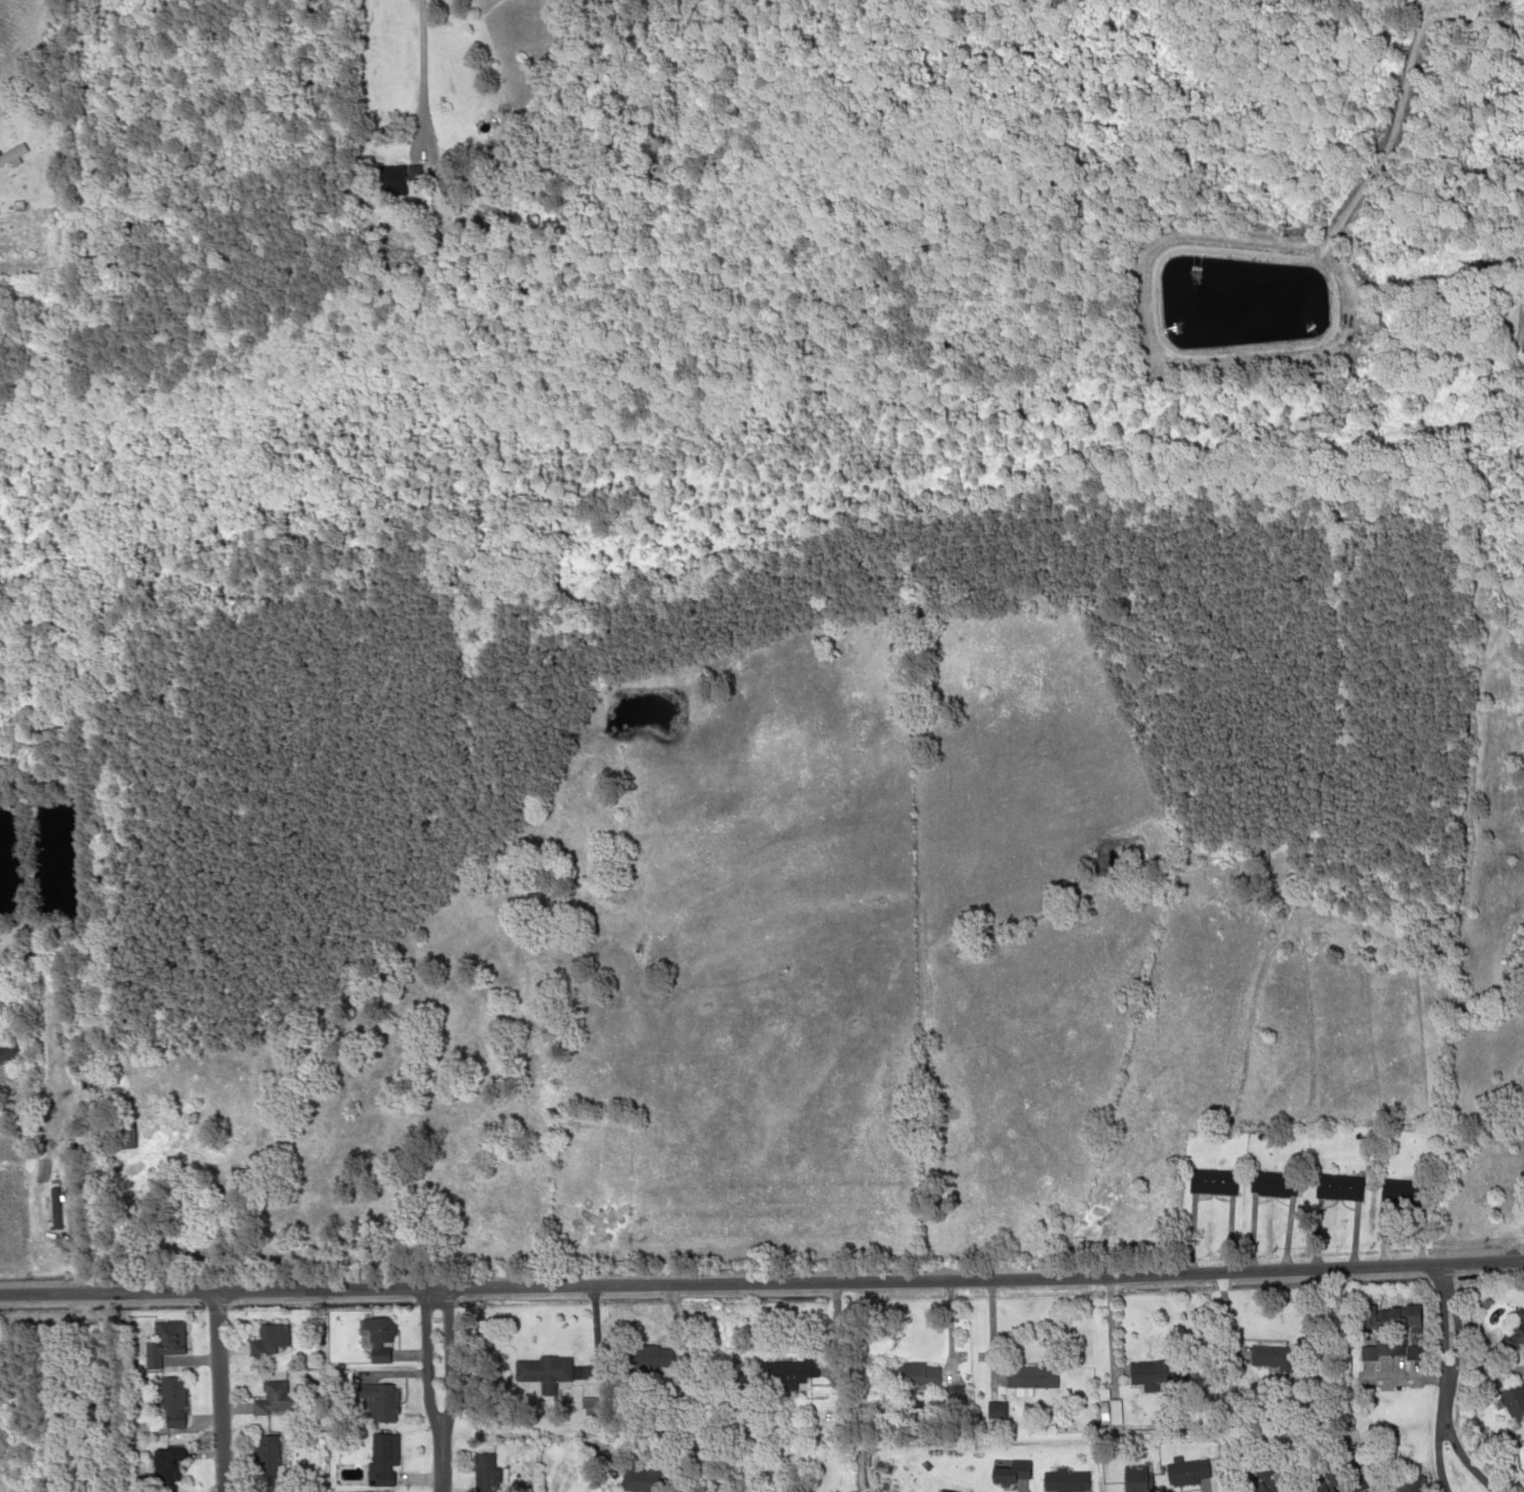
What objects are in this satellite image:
building: (11, 153)
building: (414, 172)
building: (390, 179)
building: (447, 182)
building: (467, 190)
building: (55, 200)
building: (15, 204)
building: (363, 231)
building: (439, 246)
building: (1522, 331)
building: (8, 1047)
building: (118, 1133)
building: (1211, 1181)
building: (1271, 1182)
building: (1341, 1188)
building: (1402, 1192)
road: (1440, 1275)
road: (762, 1282)
building: (1394, 1317)
building: (1515, 1331)
building: (167, 1337)
building: (380, 1339)
building: (273, 1340)
road: (1440, 1345)
road: (1453, 1345)
building: (658, 1357)
building: (1278, 1359)
building: (1389, 1361)
building: (543, 1370)
building: (790, 1373)
road: (448, 1375)
building: (1156, 1375)
road: (424, 1376)
building: (1034, 1376)
building: (911, 1378)
road: (217, 1391)
building: (273, 1397)
building: (172, 1398)
building: (1515, 1399)
building: (383, 1403)
building: (995, 1410)
road: (1436, 1449)
building: (169, 1453)
road: (1455, 1454)
building: (266, 1458)
building: (383, 1460)
building: (1337, 1463)
building: (1190, 1469)
building: (482, 1472)
building: (1010, 1474)
road: (438, 1477)
building: (641, 1479)
building: (1066, 1480)
building: (1136, 1481)
building: (1411, 1486)
building: (1268, 1487)
building: (1327, 1490)
building: (941, 1491)

